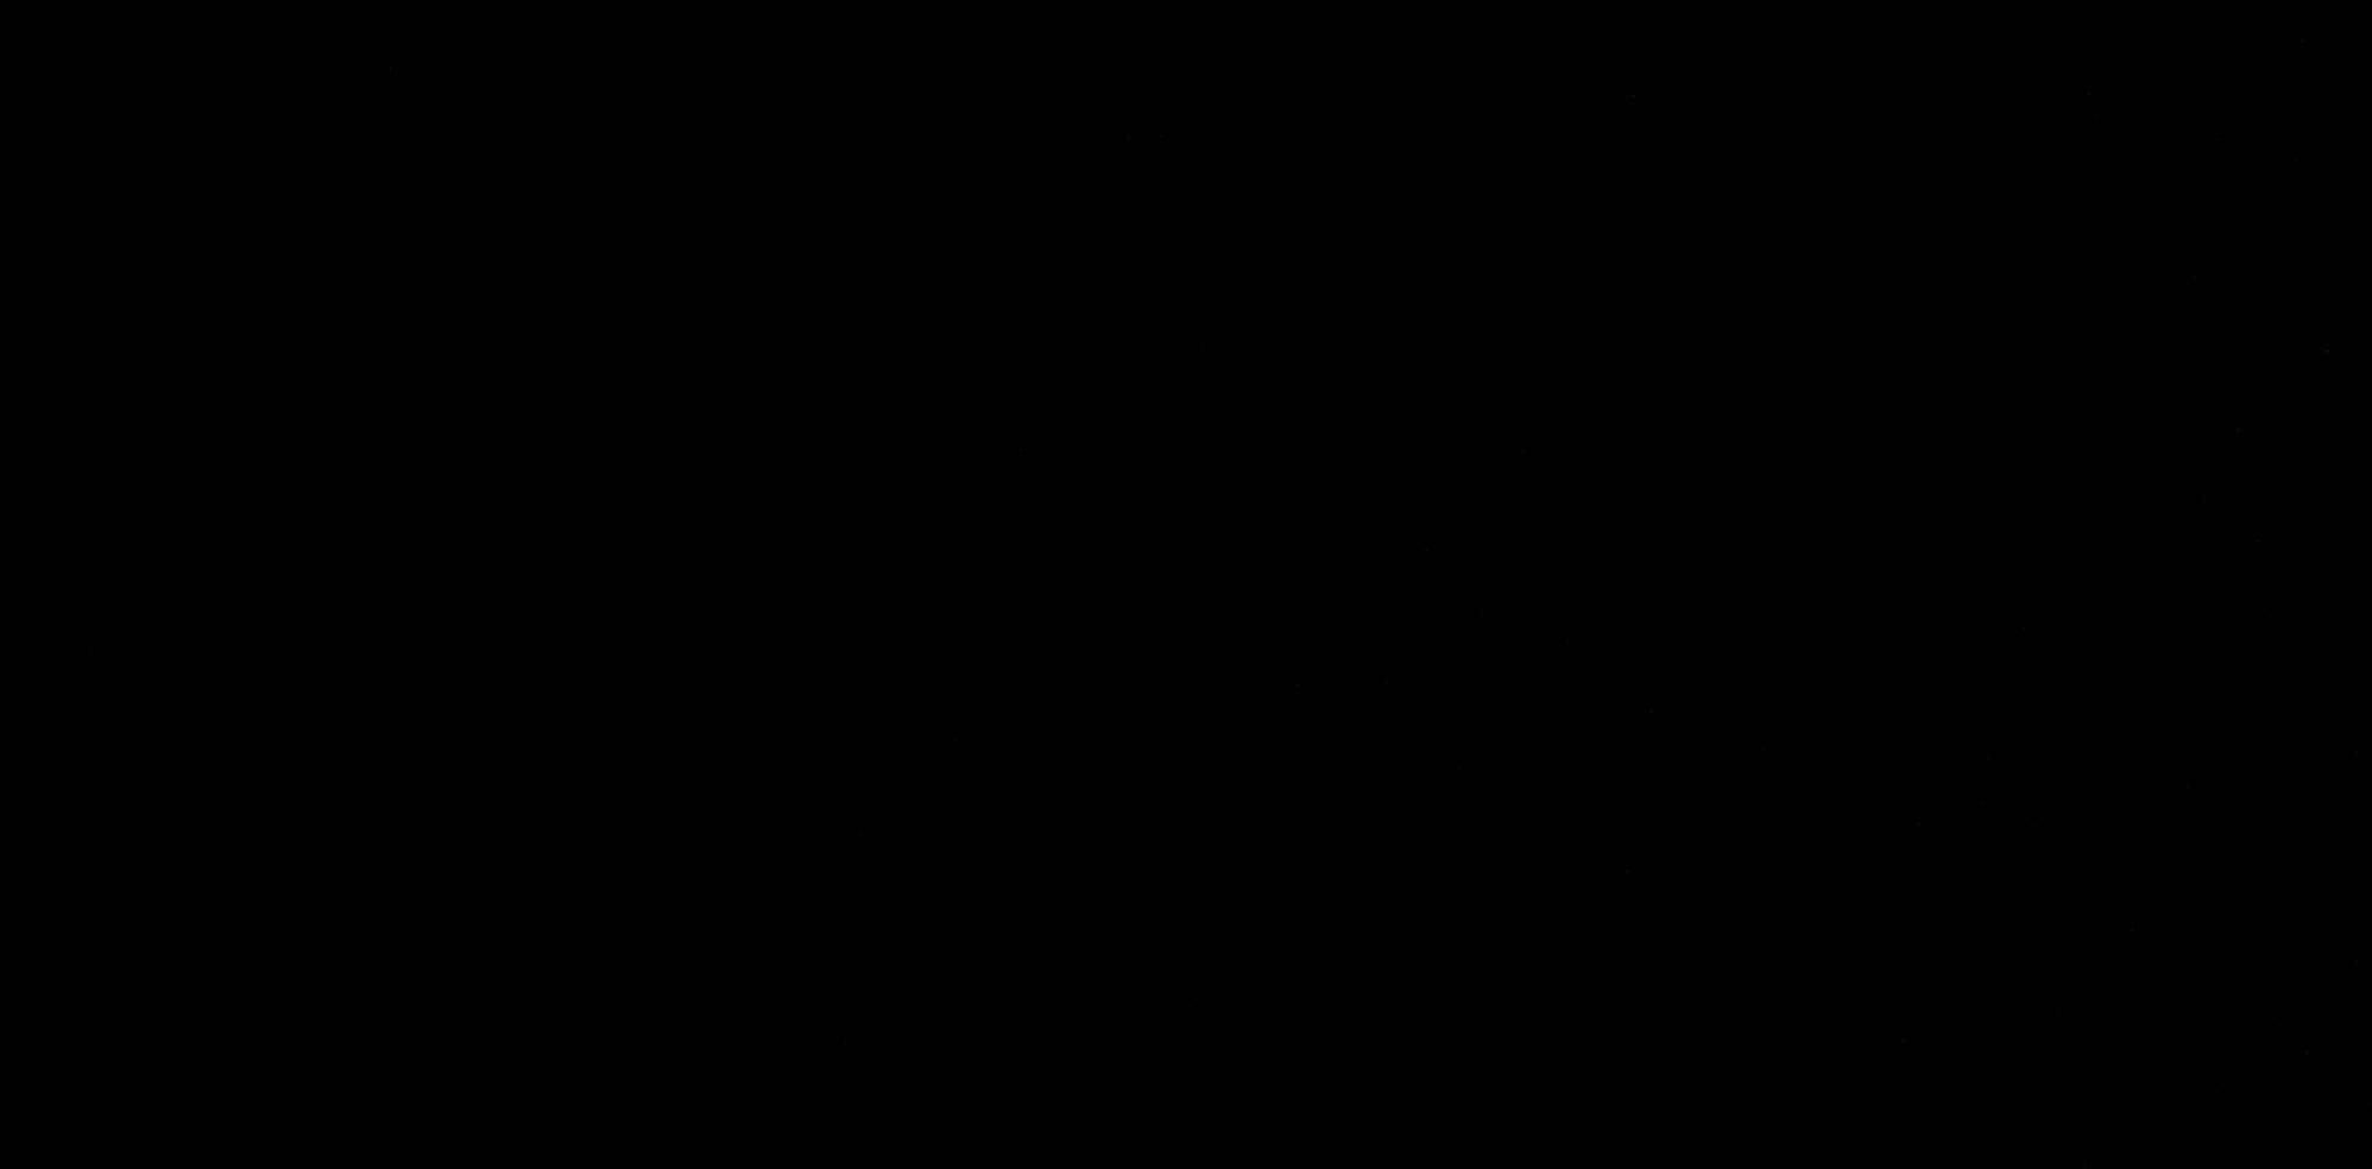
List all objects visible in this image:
river: (1560, 599)

